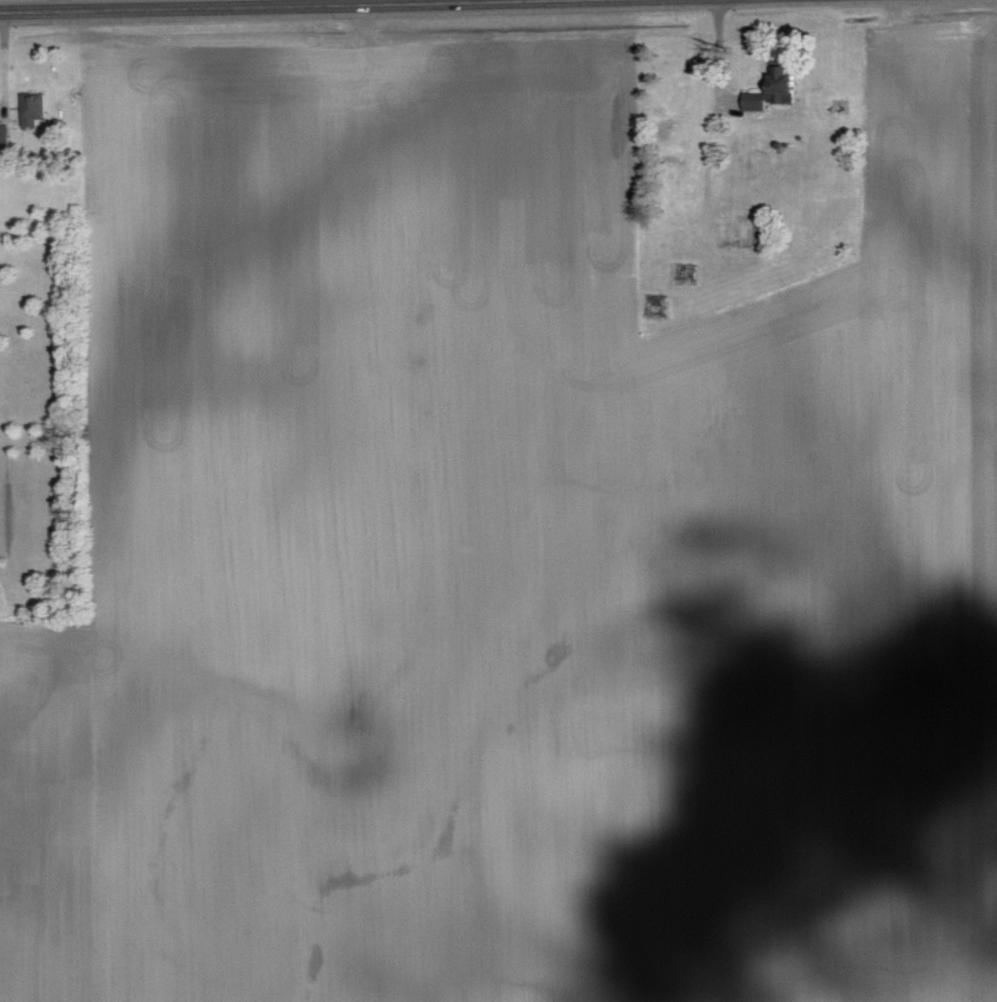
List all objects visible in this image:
road: (102, 2)
road: (716, 50)
road: (4, 59)
building: (34, 108)
building: (5, 140)

